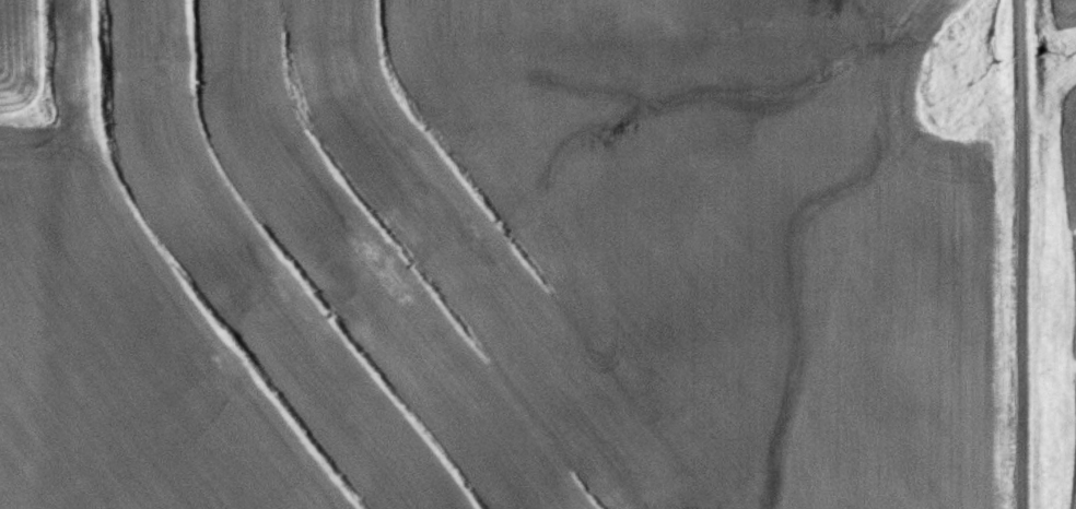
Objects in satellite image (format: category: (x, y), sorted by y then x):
road: (1050, 97)
road: (1025, 253)

